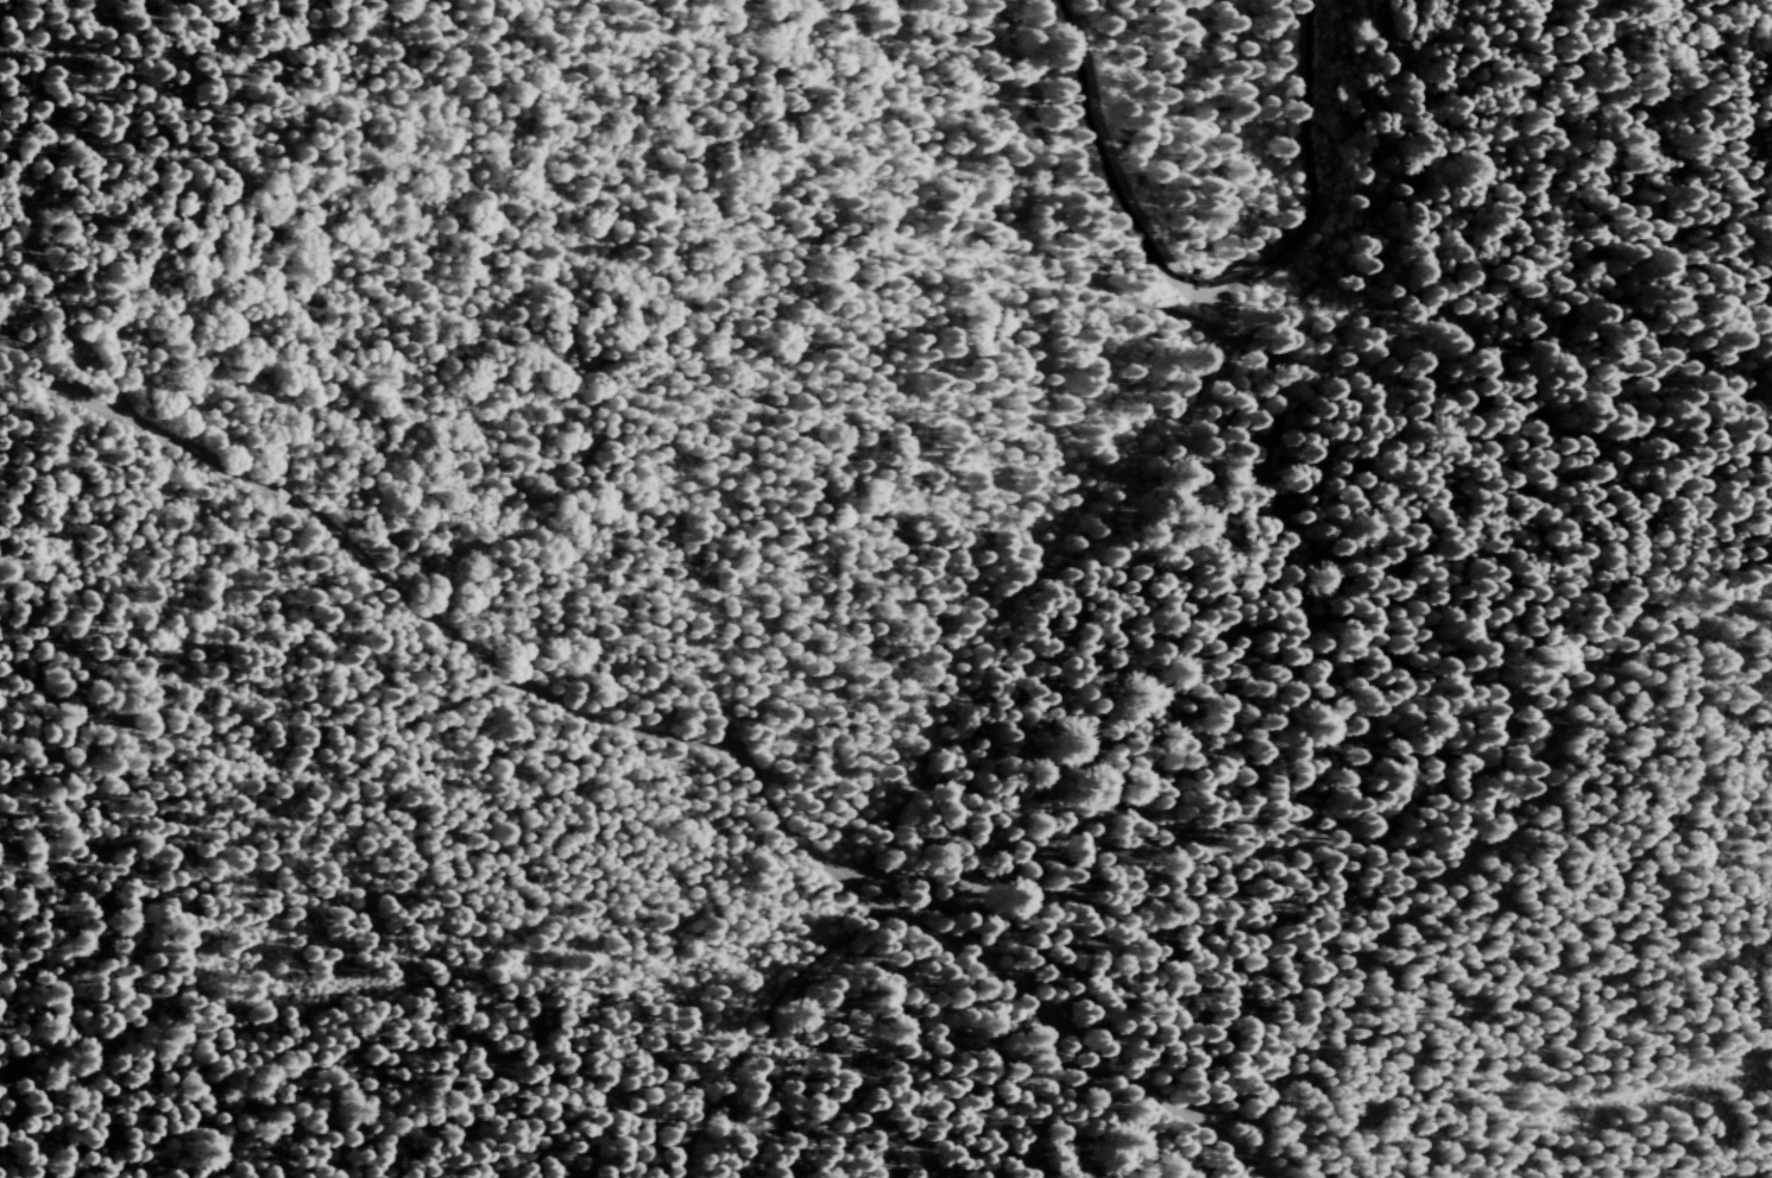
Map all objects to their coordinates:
road: (1339, 84)
road: (1082, 699)
road: (662, 733)
road: (51, 988)
road: (793, 1105)
road: (441, 1144)

